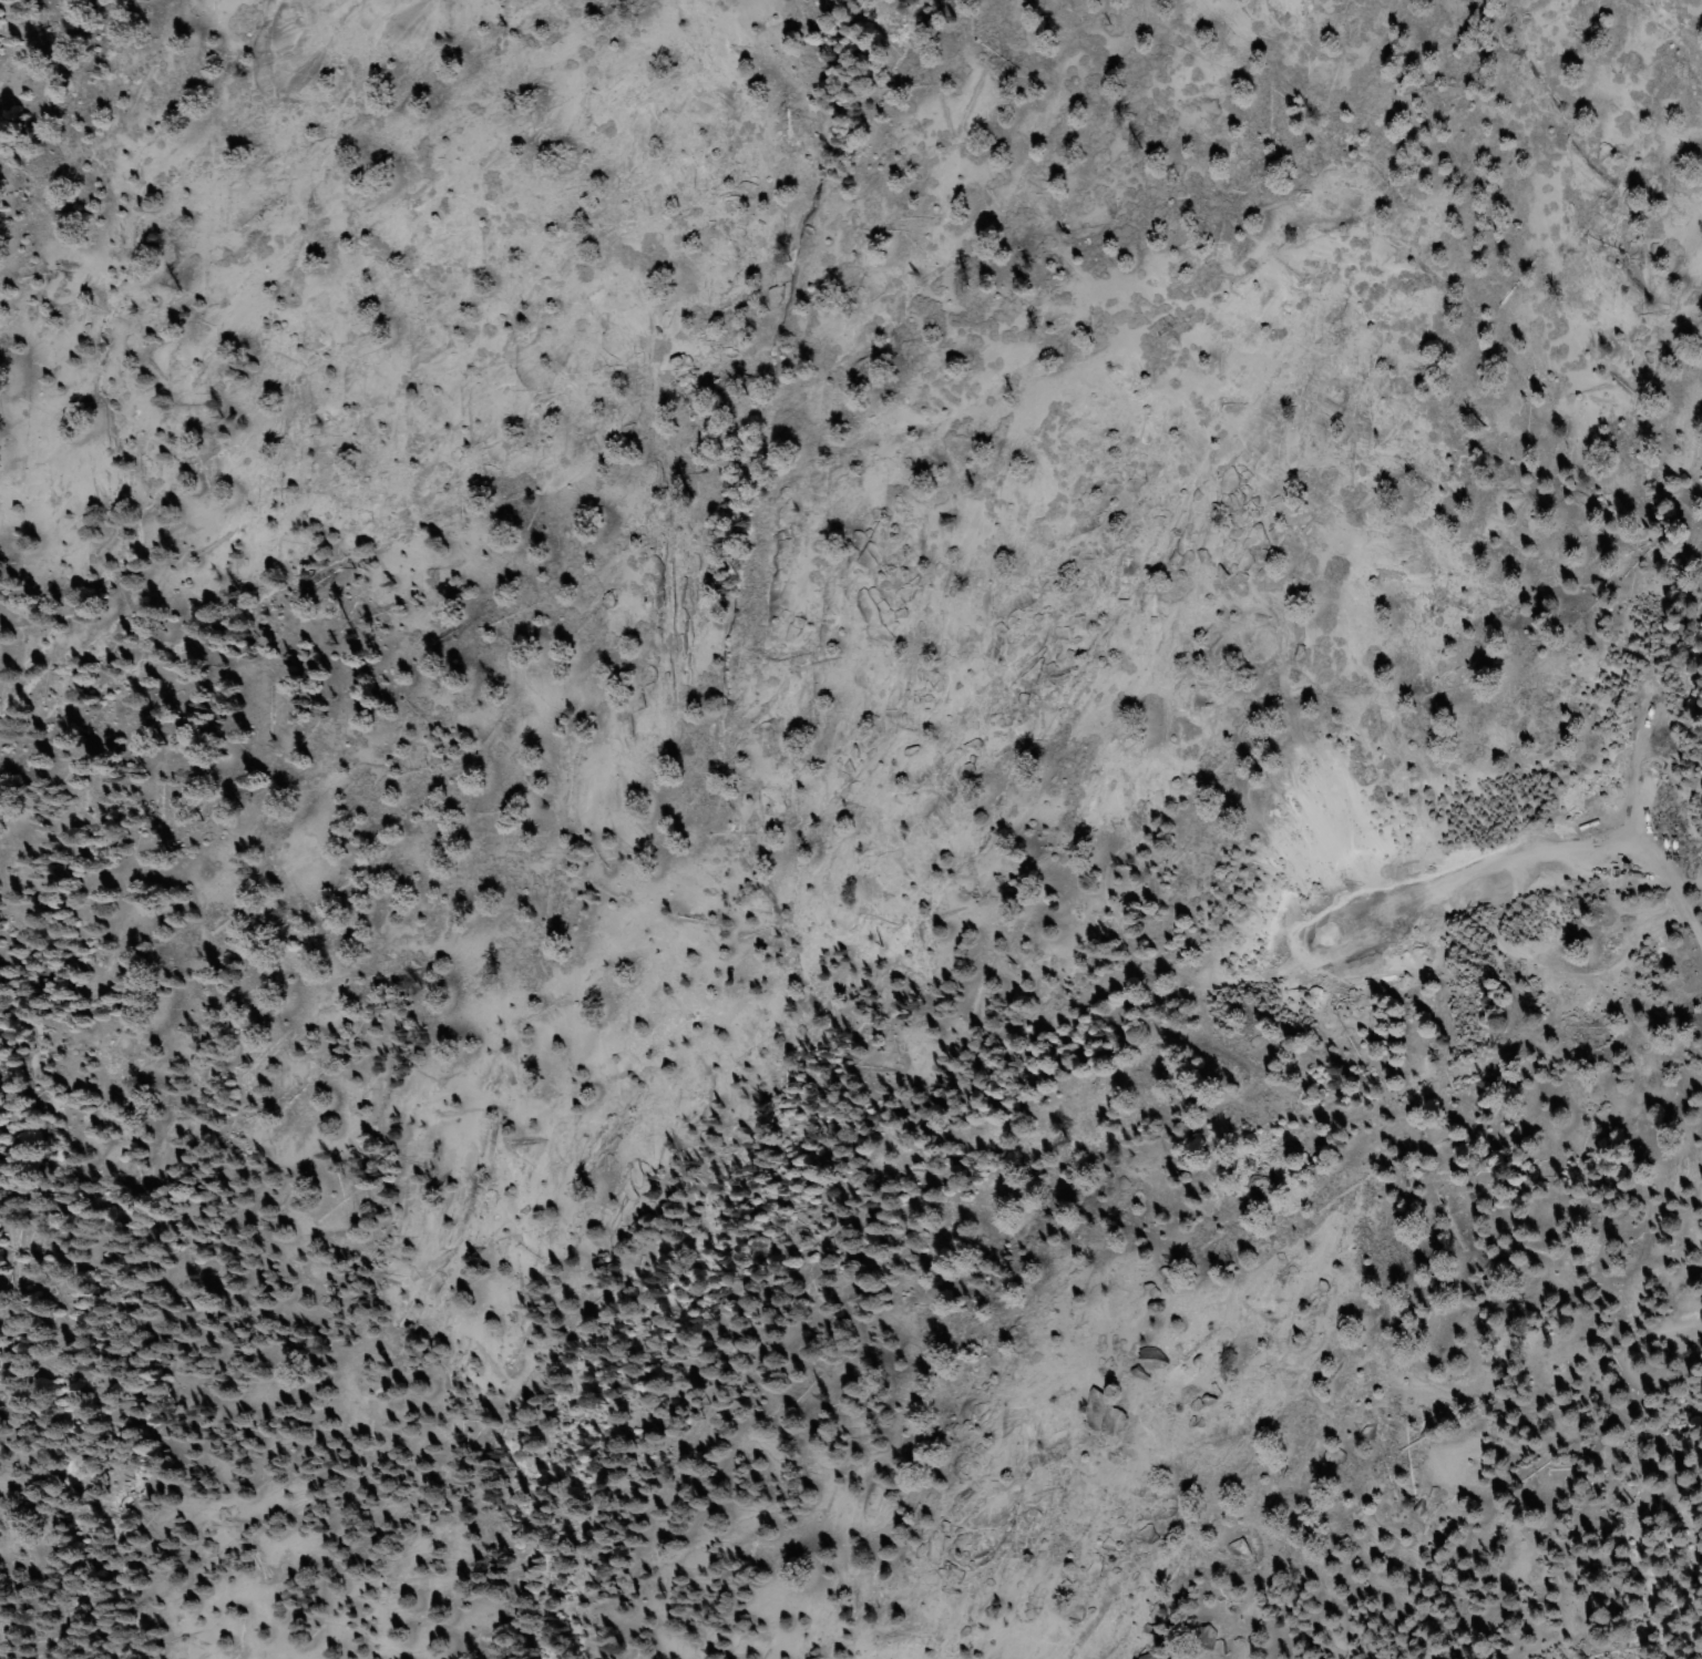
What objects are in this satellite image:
quarry: (1517, 885)
road: (1236, 970)

